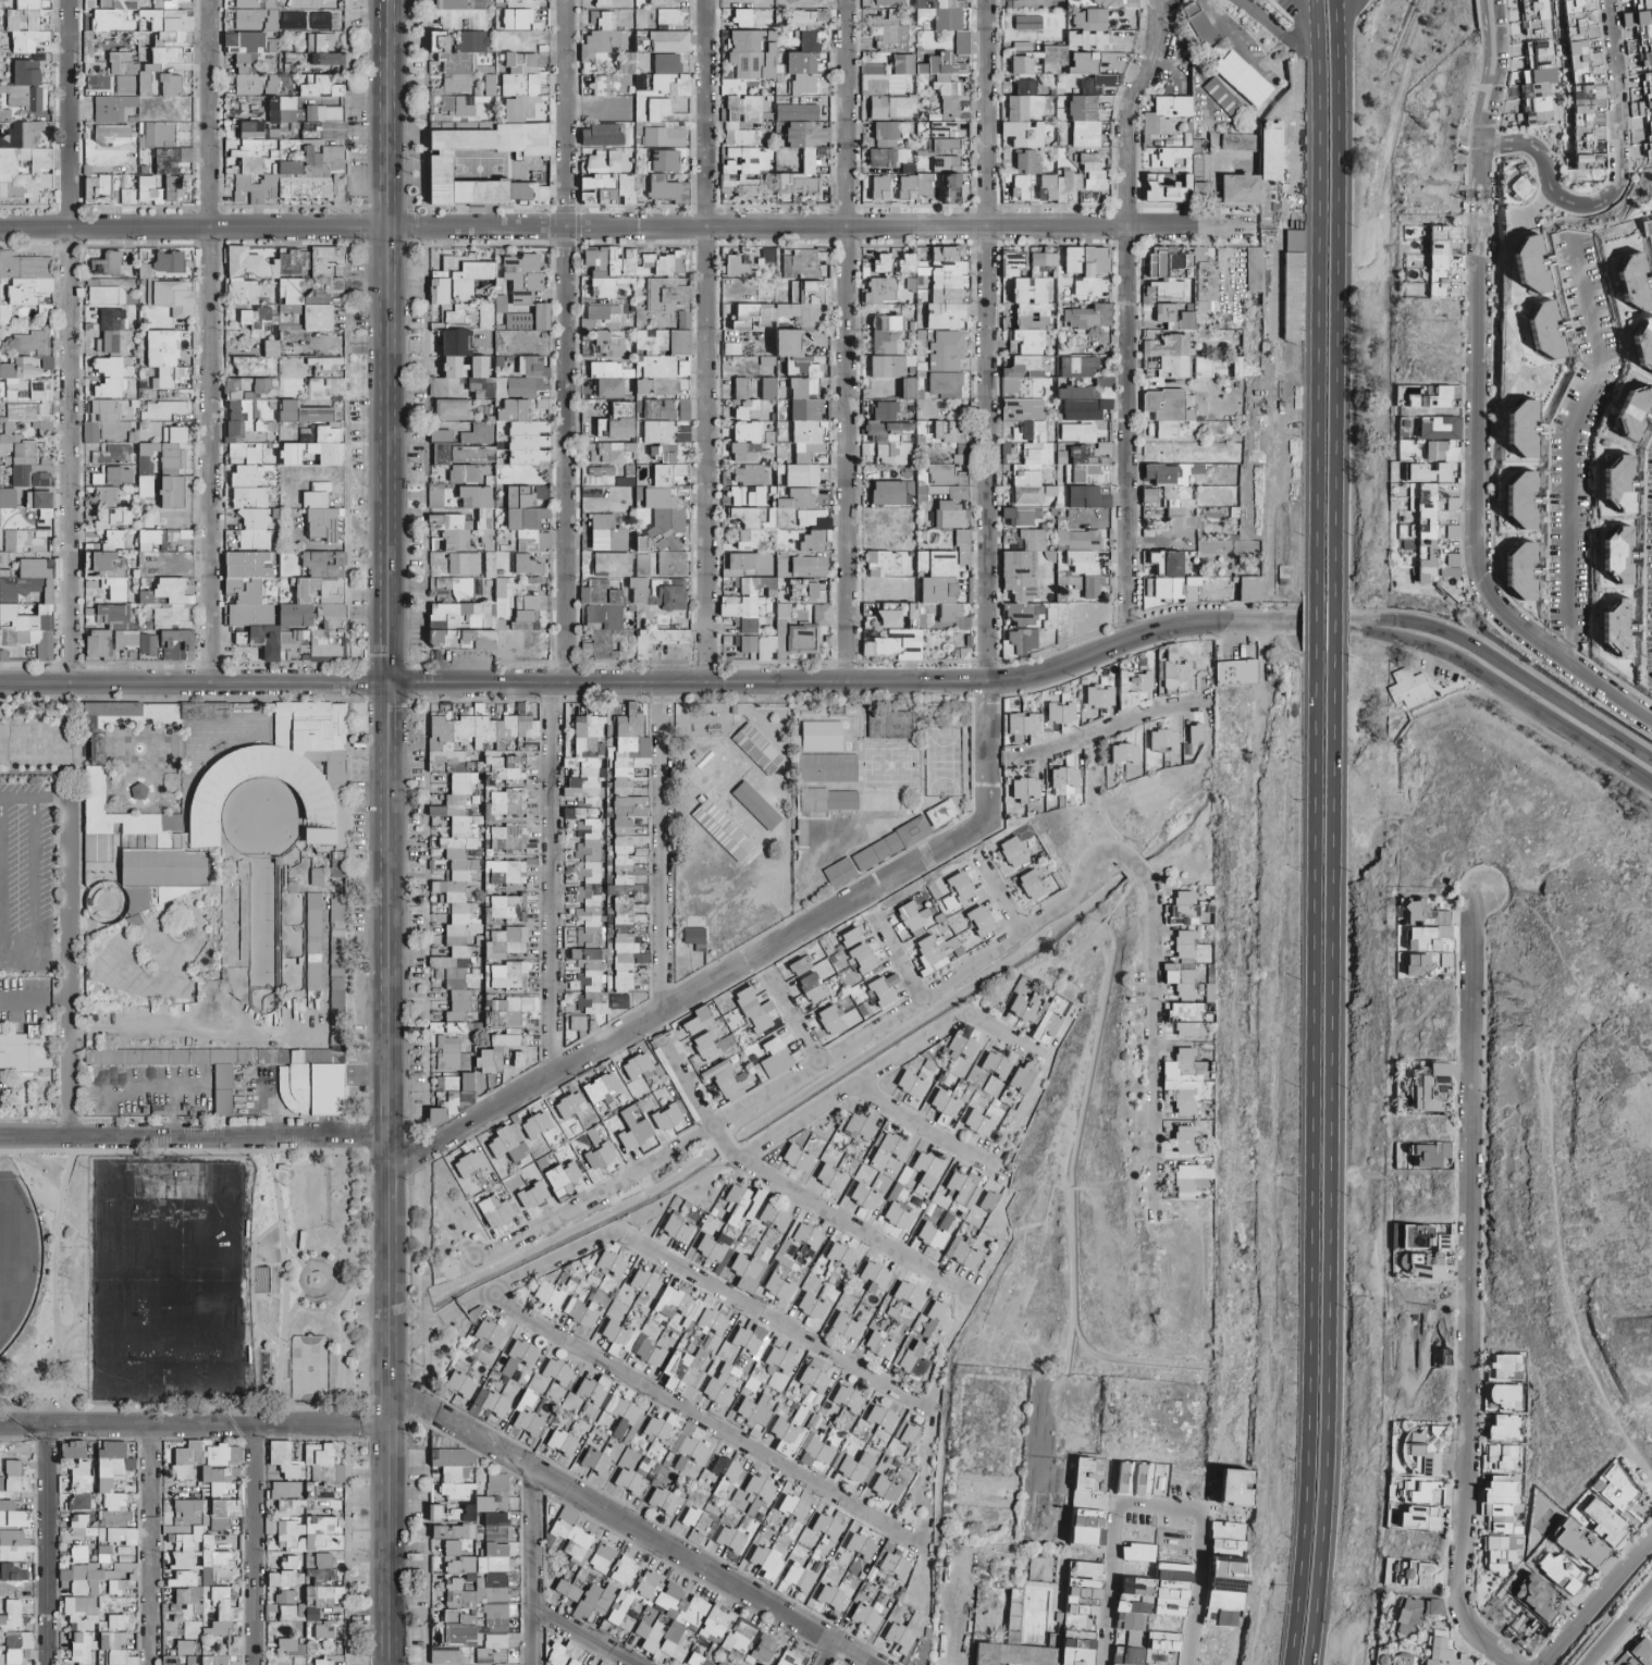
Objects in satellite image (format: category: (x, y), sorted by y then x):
park: (309, 1193)
park: (14, 1255)
park: (164, 1279)
park: (182, 1280)

